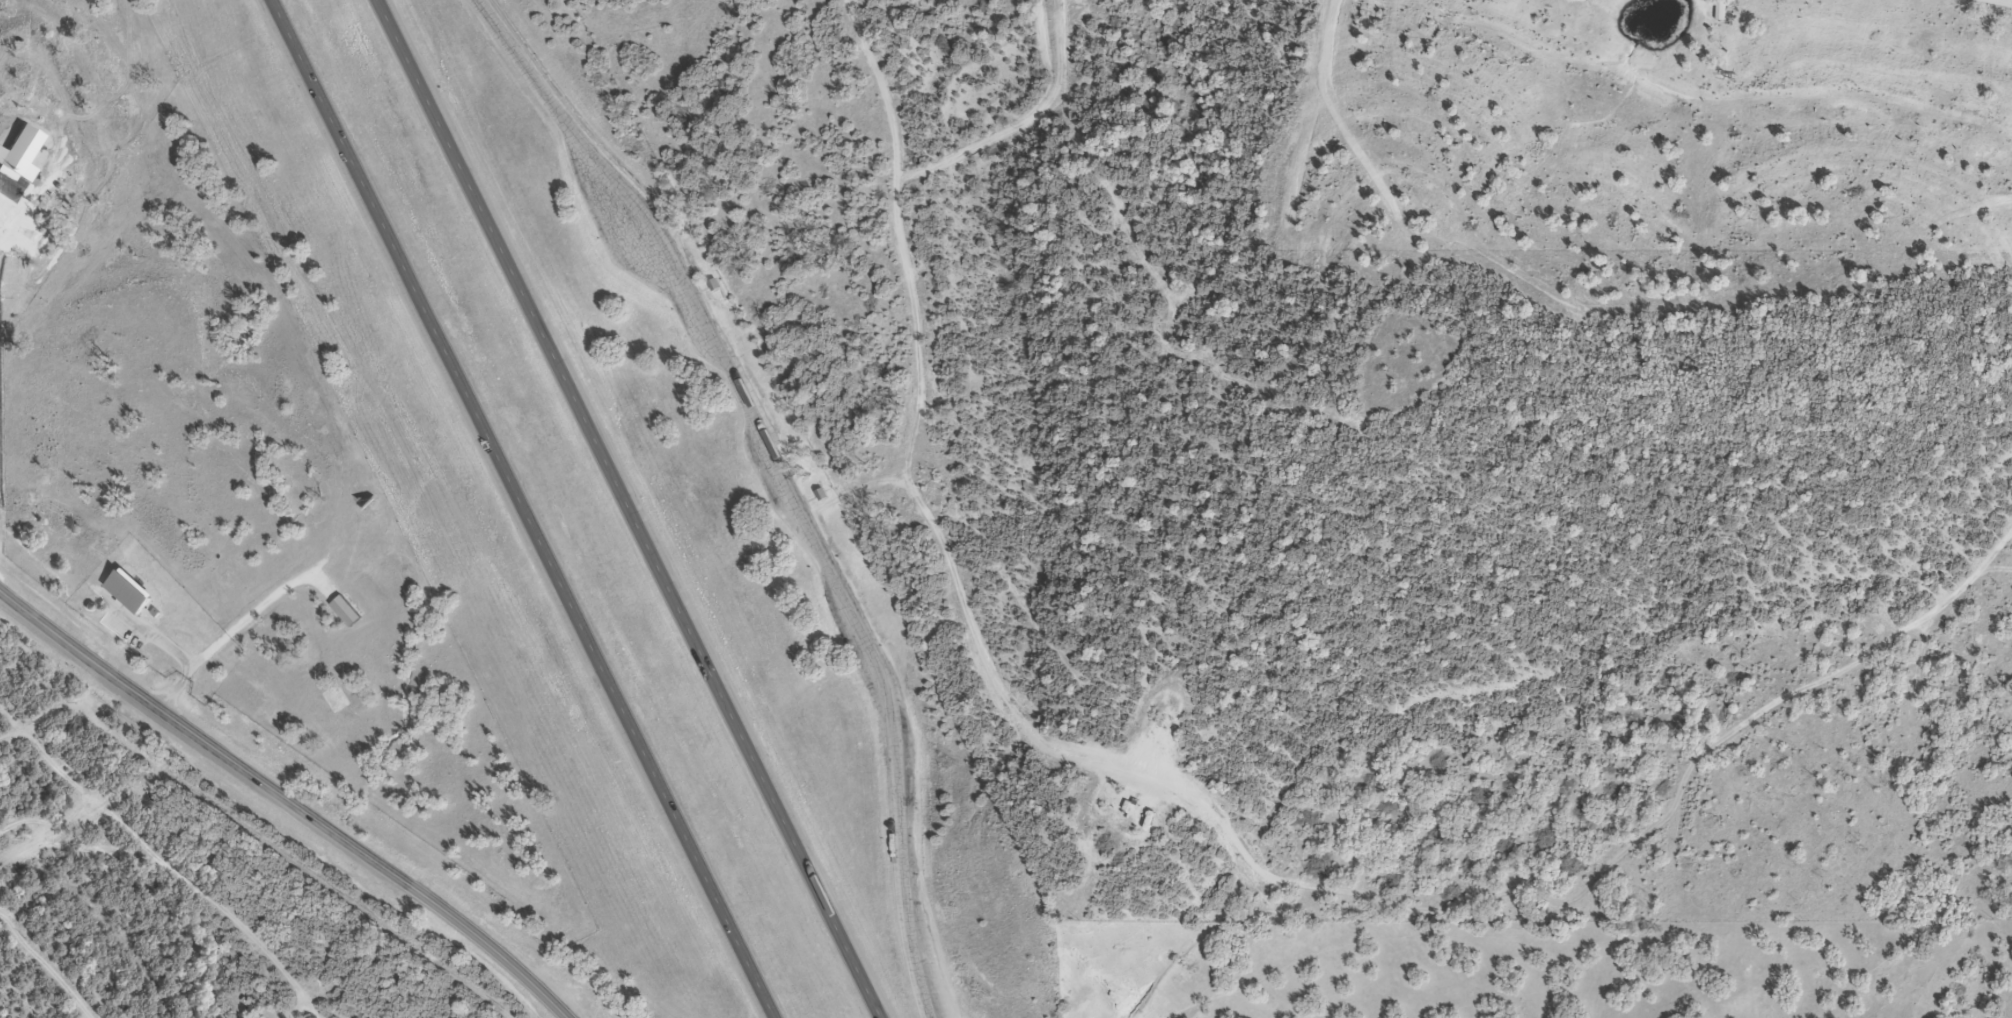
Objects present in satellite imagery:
road: (525, 70)
building: (711, 286)
road: (768, 457)
parking lot: (778, 484)
building: (819, 495)
road: (523, 509)
road: (631, 509)
building: (343, 614)
road: (230, 634)
road: (155, 639)
building: (332, 704)
road: (286, 800)
road: (908, 911)

